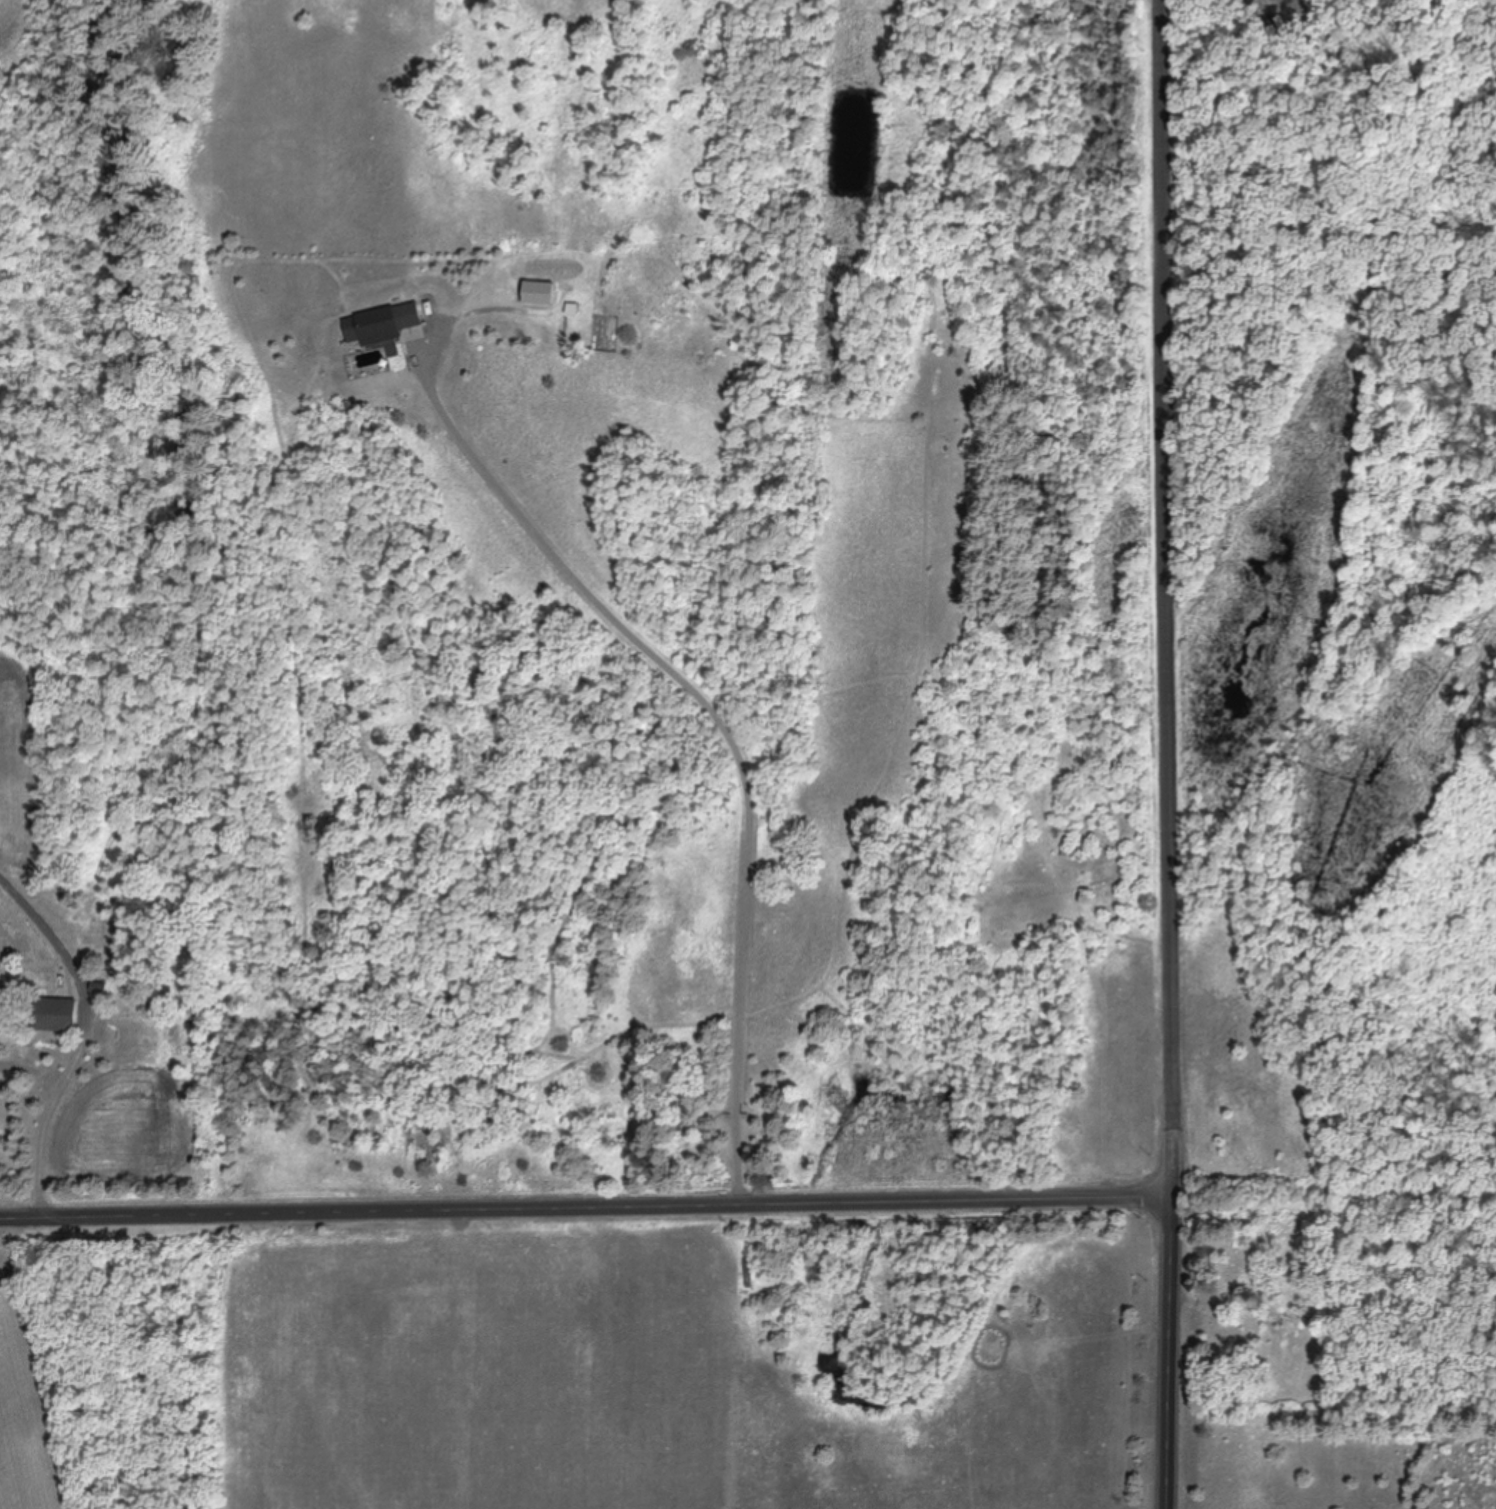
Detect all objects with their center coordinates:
building: (538, 294)
building: (383, 324)
road: (1170, 600)
road: (721, 726)
park: (1330, 749)
building: (40, 981)
building: (99, 989)
road: (586, 1209)
building: (747, 1274)
road: (1170, 1354)

